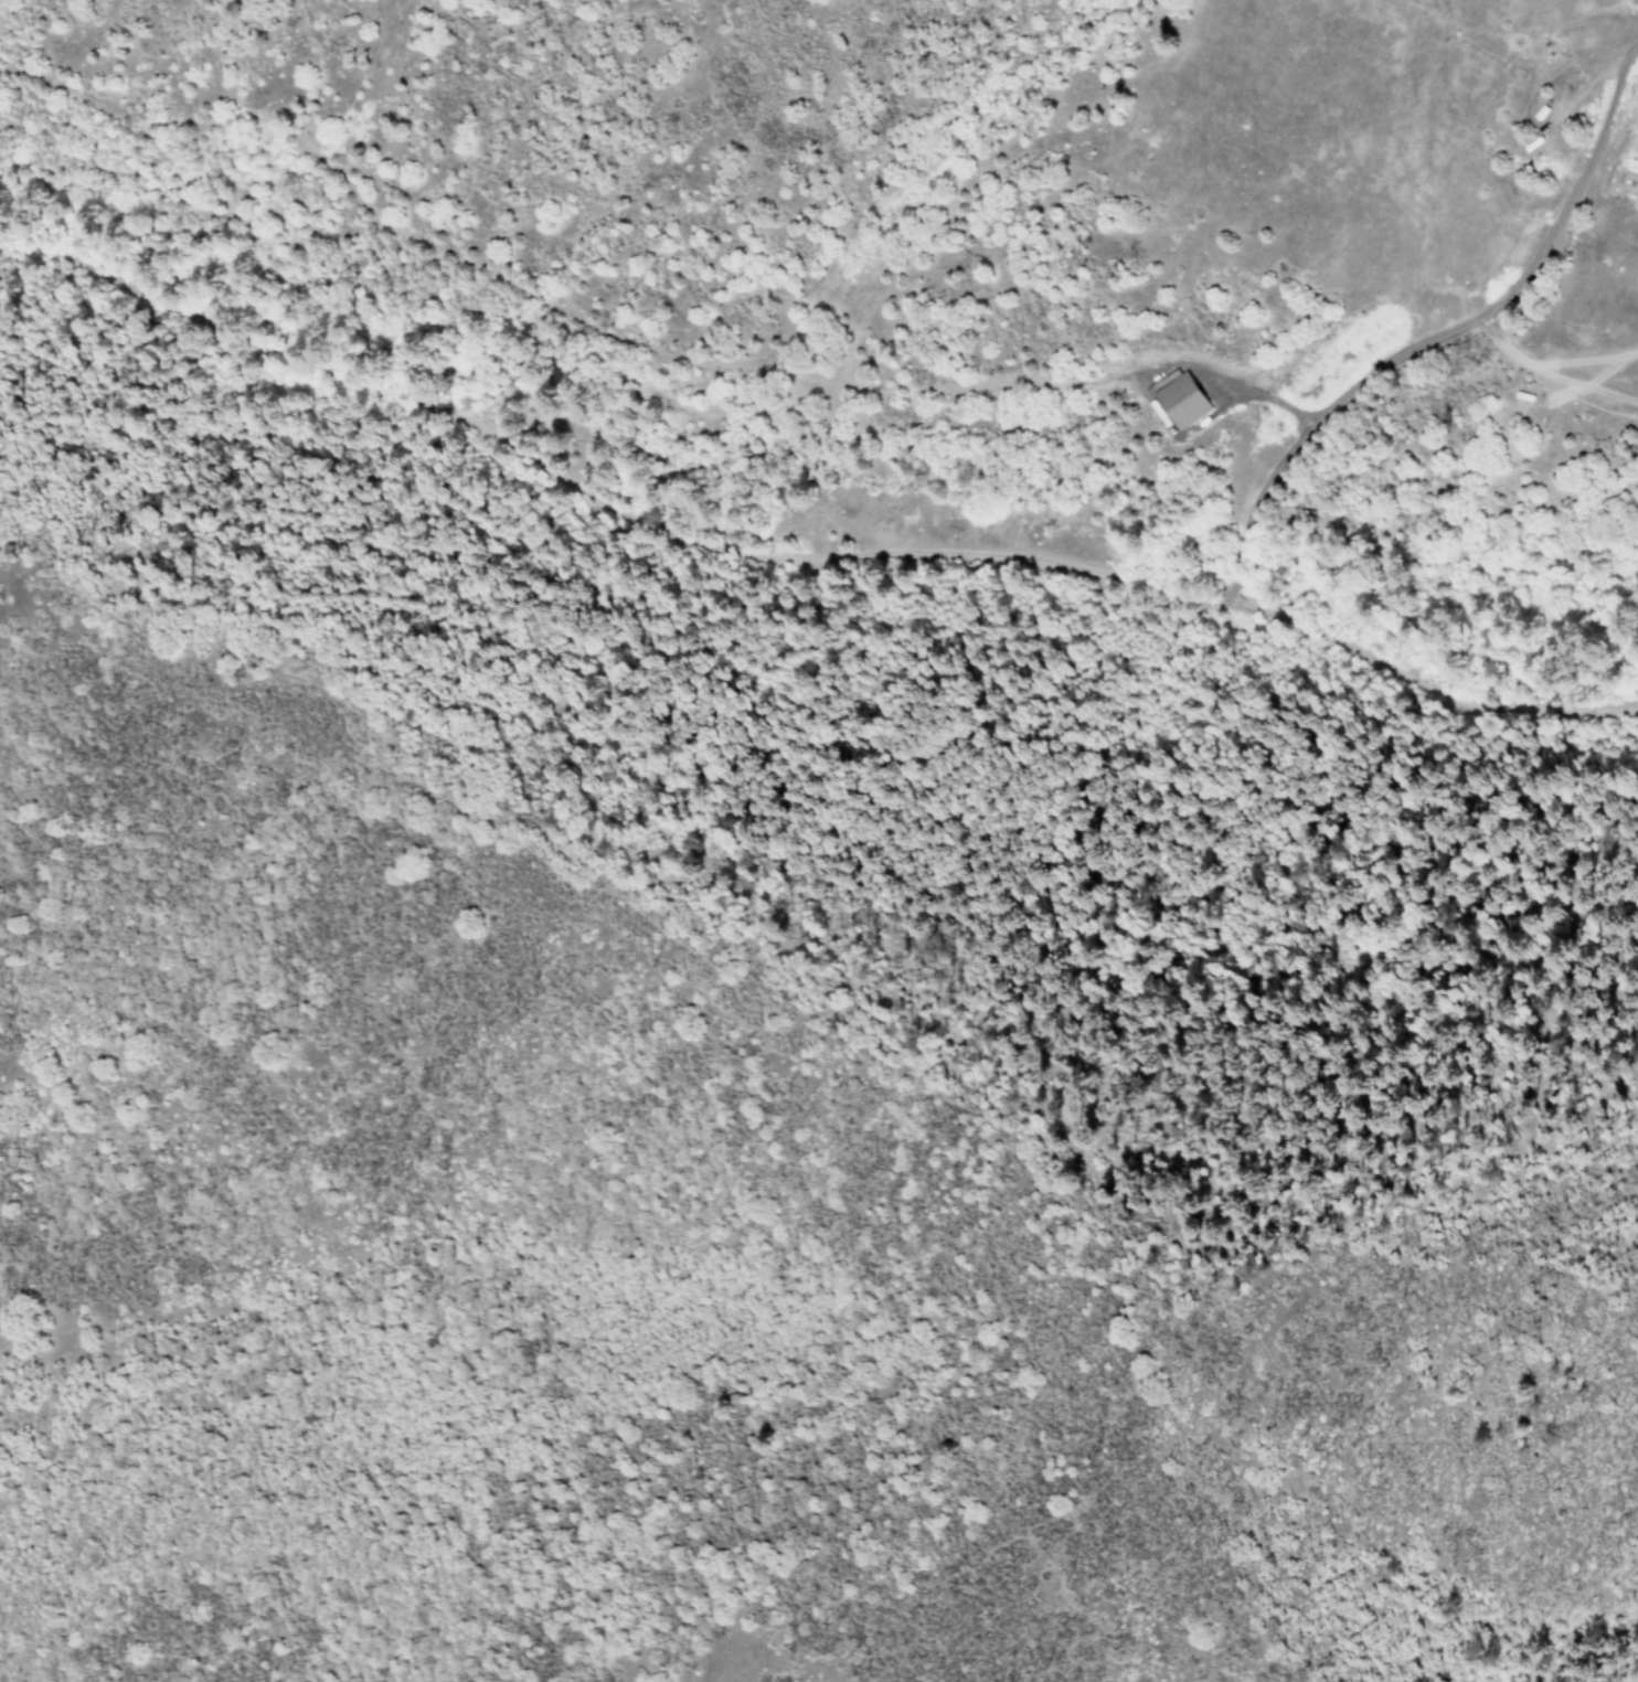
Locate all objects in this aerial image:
road: (1212, 281)
building: (1190, 401)
road: (801, 532)

